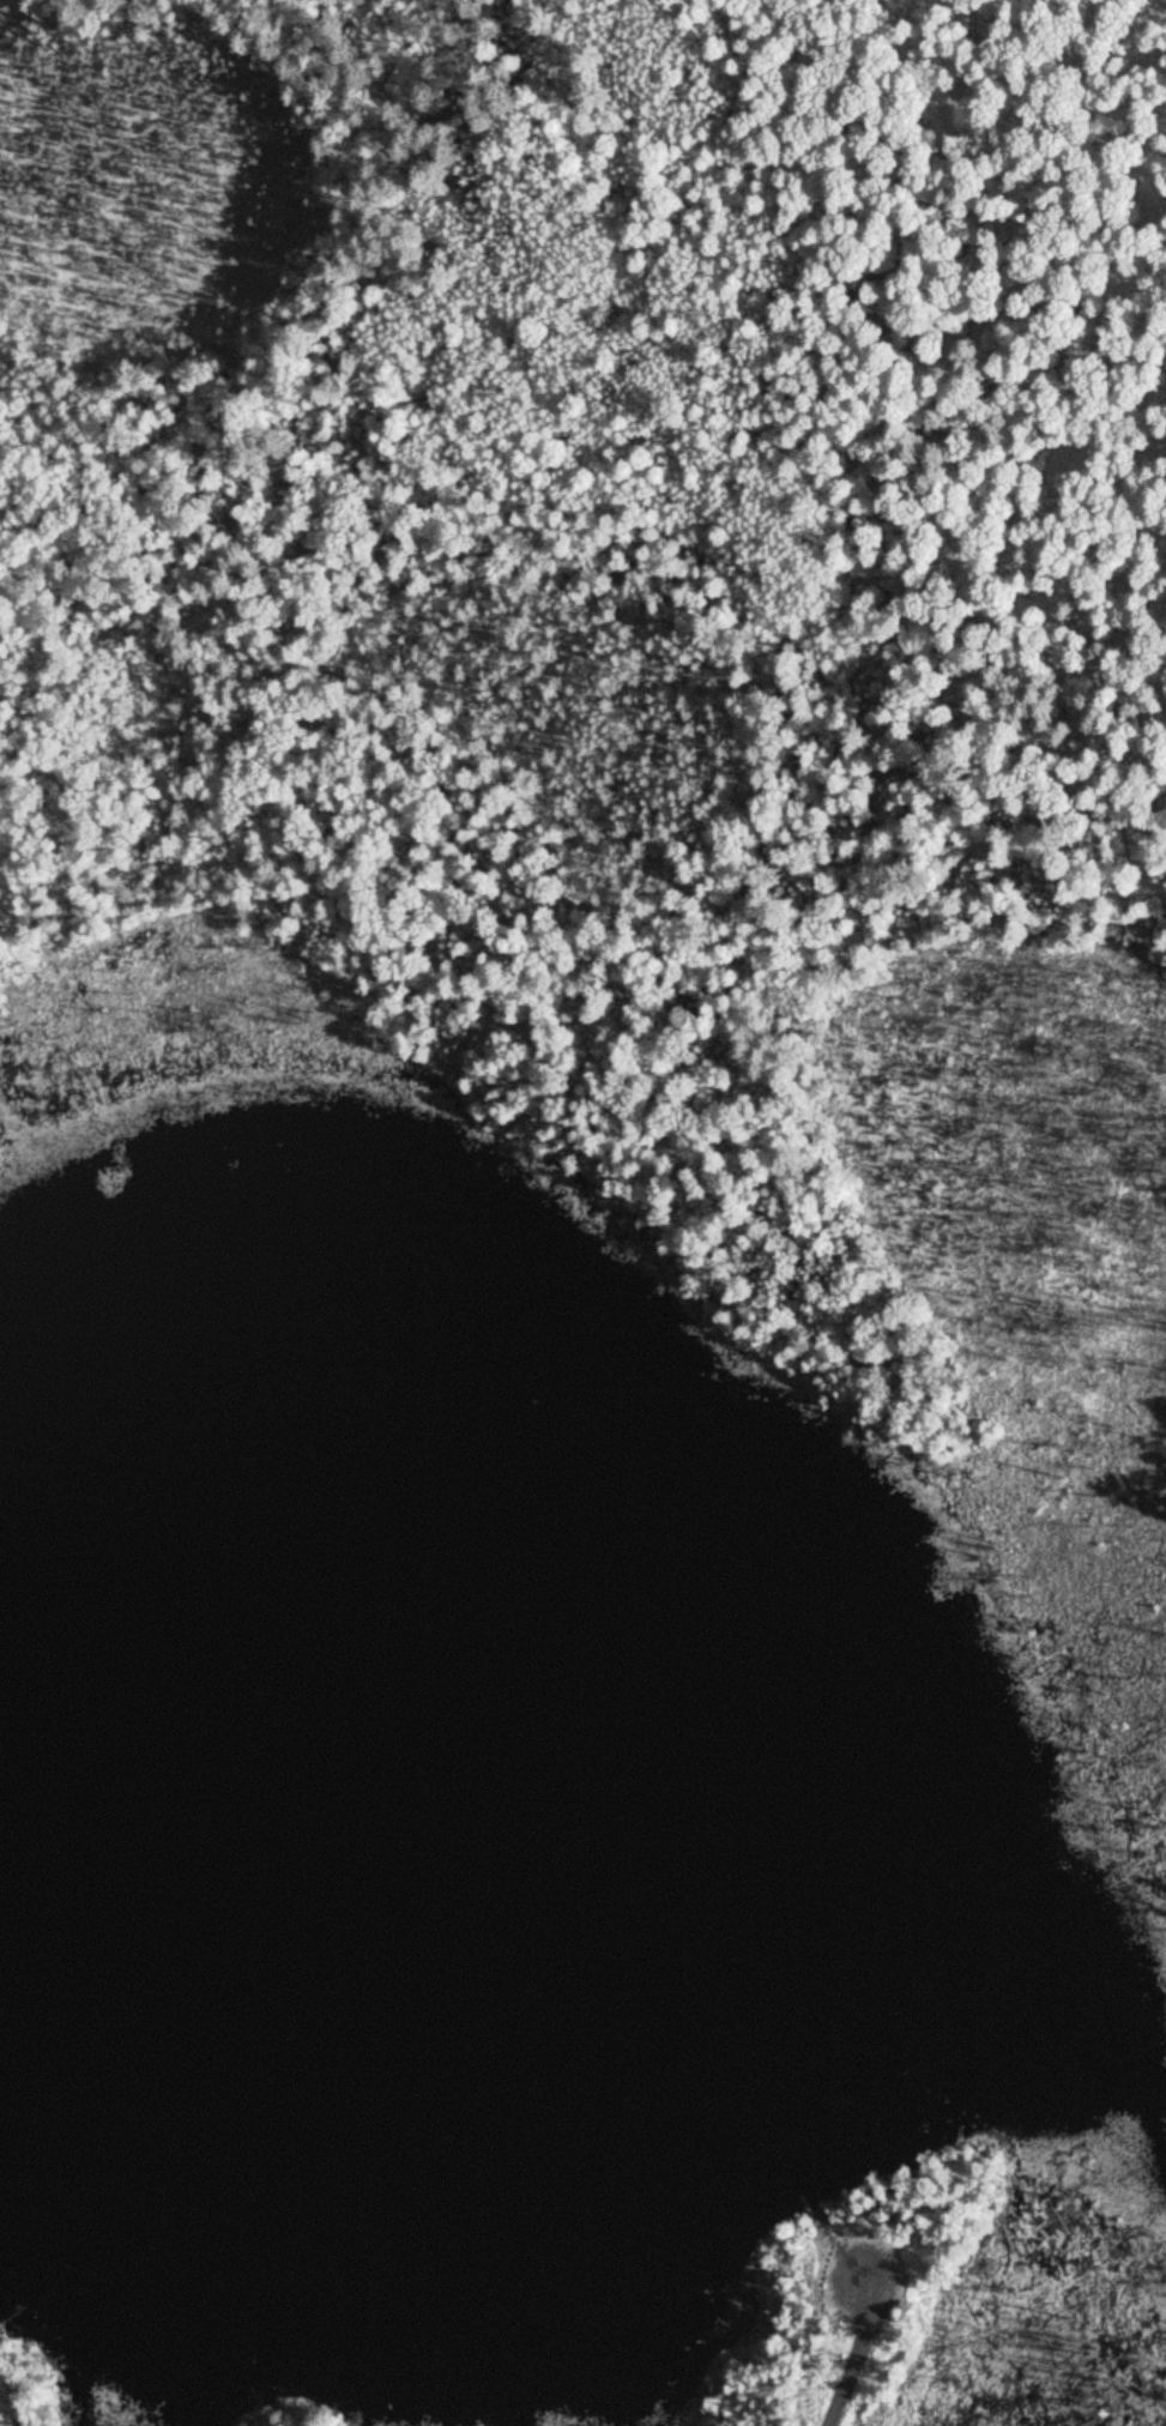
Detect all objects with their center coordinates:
parking lot: (856, 2274)
road: (850, 2364)
road: (12, 2400)

